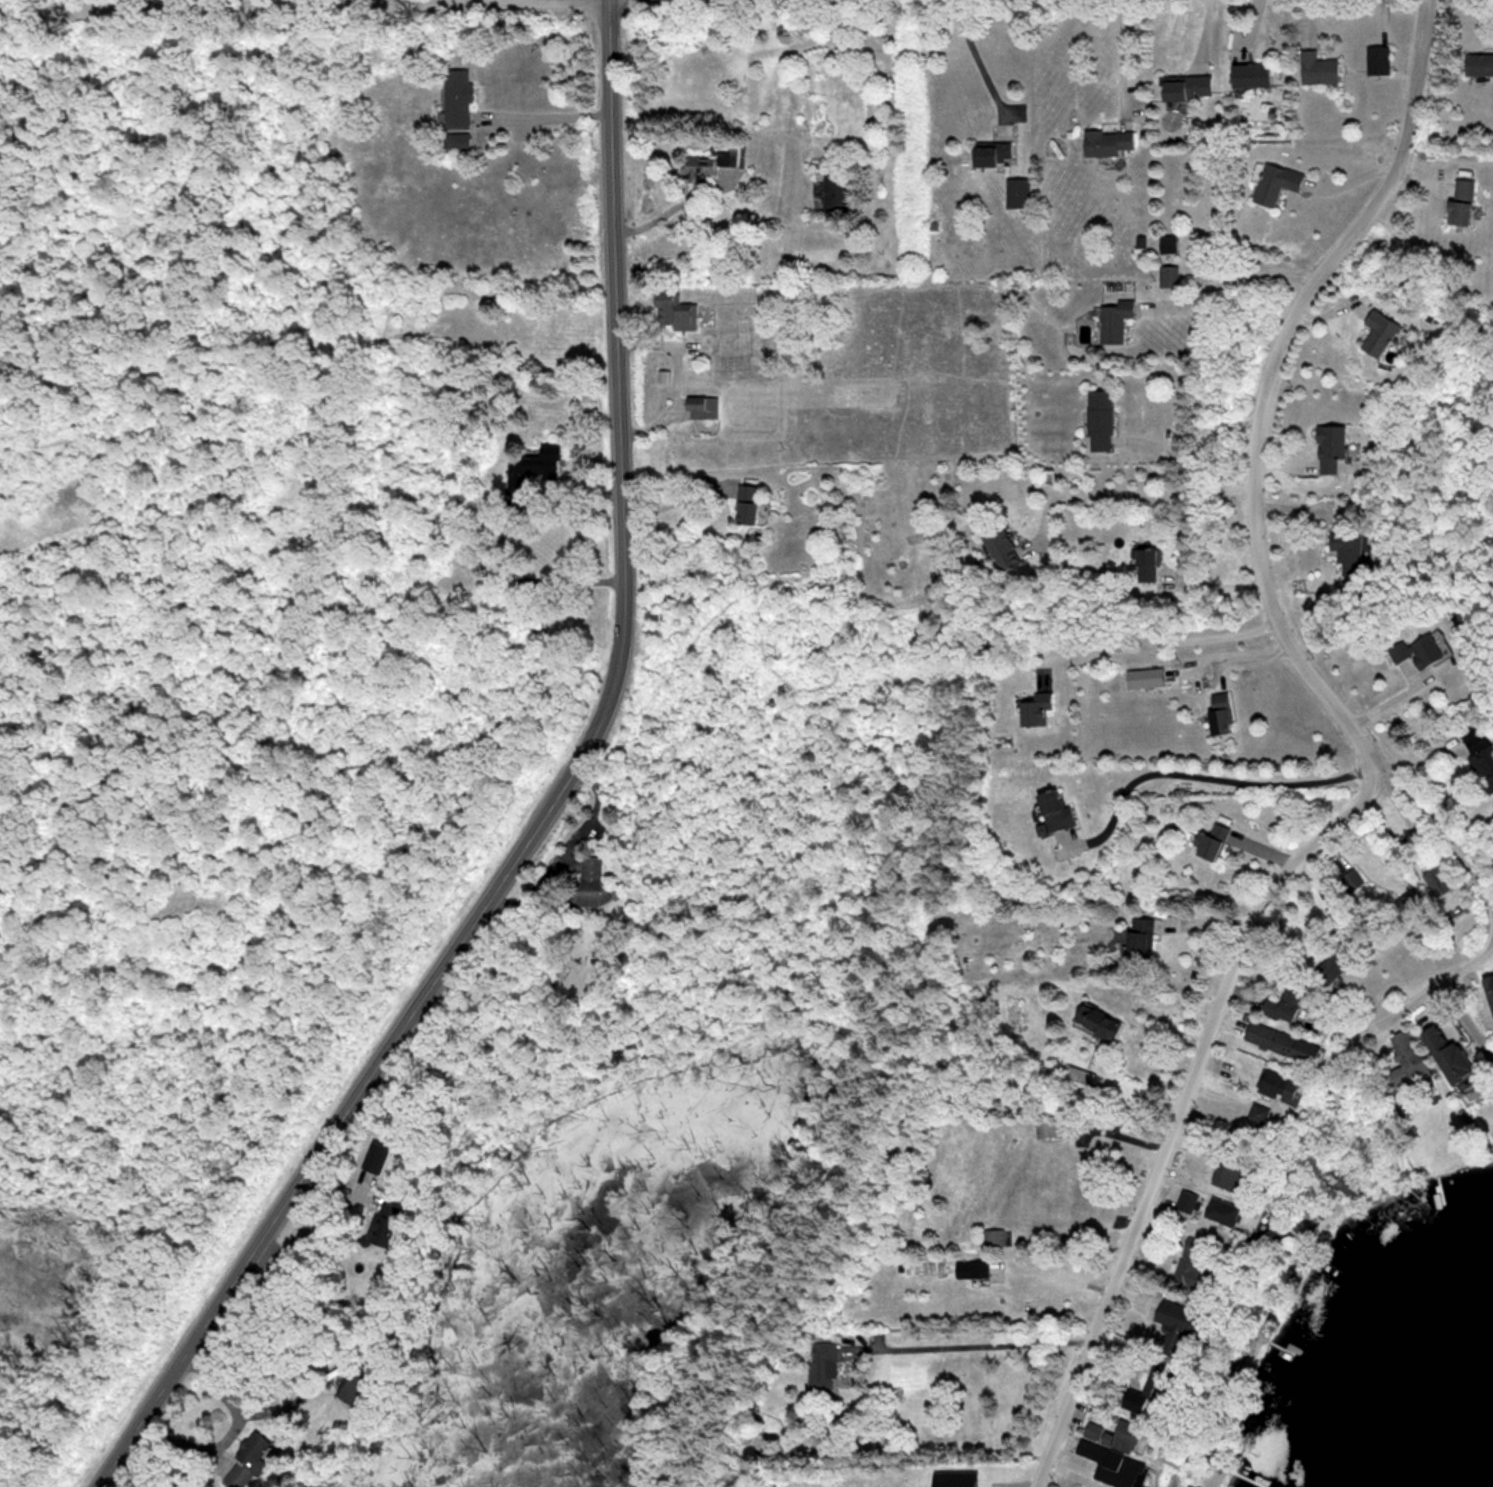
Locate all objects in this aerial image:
road: (115, 3)
road: (976, 57)
road: (1125, 58)
building: (1380, 60)
building: (1480, 64)
building: (1321, 69)
building: (1256, 75)
building: (1190, 86)
building: (460, 98)
road: (558, 114)
building: (460, 141)
building: (1109, 142)
building: (996, 154)
building: (708, 165)
road: (1358, 177)
building: (1279, 184)
building: (838, 192)
building: (1020, 193)
building: (1464, 203)
building: (1169, 244)
building: (1170, 276)
road: (1233, 279)
building: (677, 313)
building: (1117, 321)
building: (1382, 334)
road: (674, 382)
building: (703, 408)
building: (1102, 421)
road: (1199, 443)
building: (1333, 449)
road: (1258, 461)
building: (549, 464)
road: (1134, 491)
road: (677, 499)
building: (750, 506)
road: (497, 544)
building: (1006, 548)
building: (1350, 549)
building: (1149, 565)
road: (1170, 638)
building: (1413, 652)
park: (231, 665)
building: (1032, 708)
building: (1215, 714)
building: (1477, 751)
road: (1202, 776)
road: (548, 798)
building: (1051, 811)
building: (1208, 842)
road: (566, 849)
building: (1349, 879)
building: (1433, 879)
building: (585, 880)
building: (1405, 902)
road: (1204, 925)
building: (1134, 936)
building: (1329, 963)
road: (1427, 990)
building: (1486, 990)
building: (1280, 1005)
building: (1094, 1020)
building: (1277, 1041)
building: (1440, 1051)
building: (1398, 1058)
building: (1074, 1078)
building: (1277, 1085)
building: (1255, 1112)
road: (1185, 1115)
building: (1225, 1177)
building: (1218, 1210)
building: (378, 1222)
road: (305, 1236)
building: (992, 1236)
building: (1185, 1263)
building: (970, 1269)
building: (1169, 1324)
road: (988, 1347)
building: (820, 1367)
building: (1151, 1381)
building: (345, 1388)
road: (225, 1432)
building: (1110, 1433)
building: (241, 1465)
building: (1107, 1465)
building: (1185, 1486)

